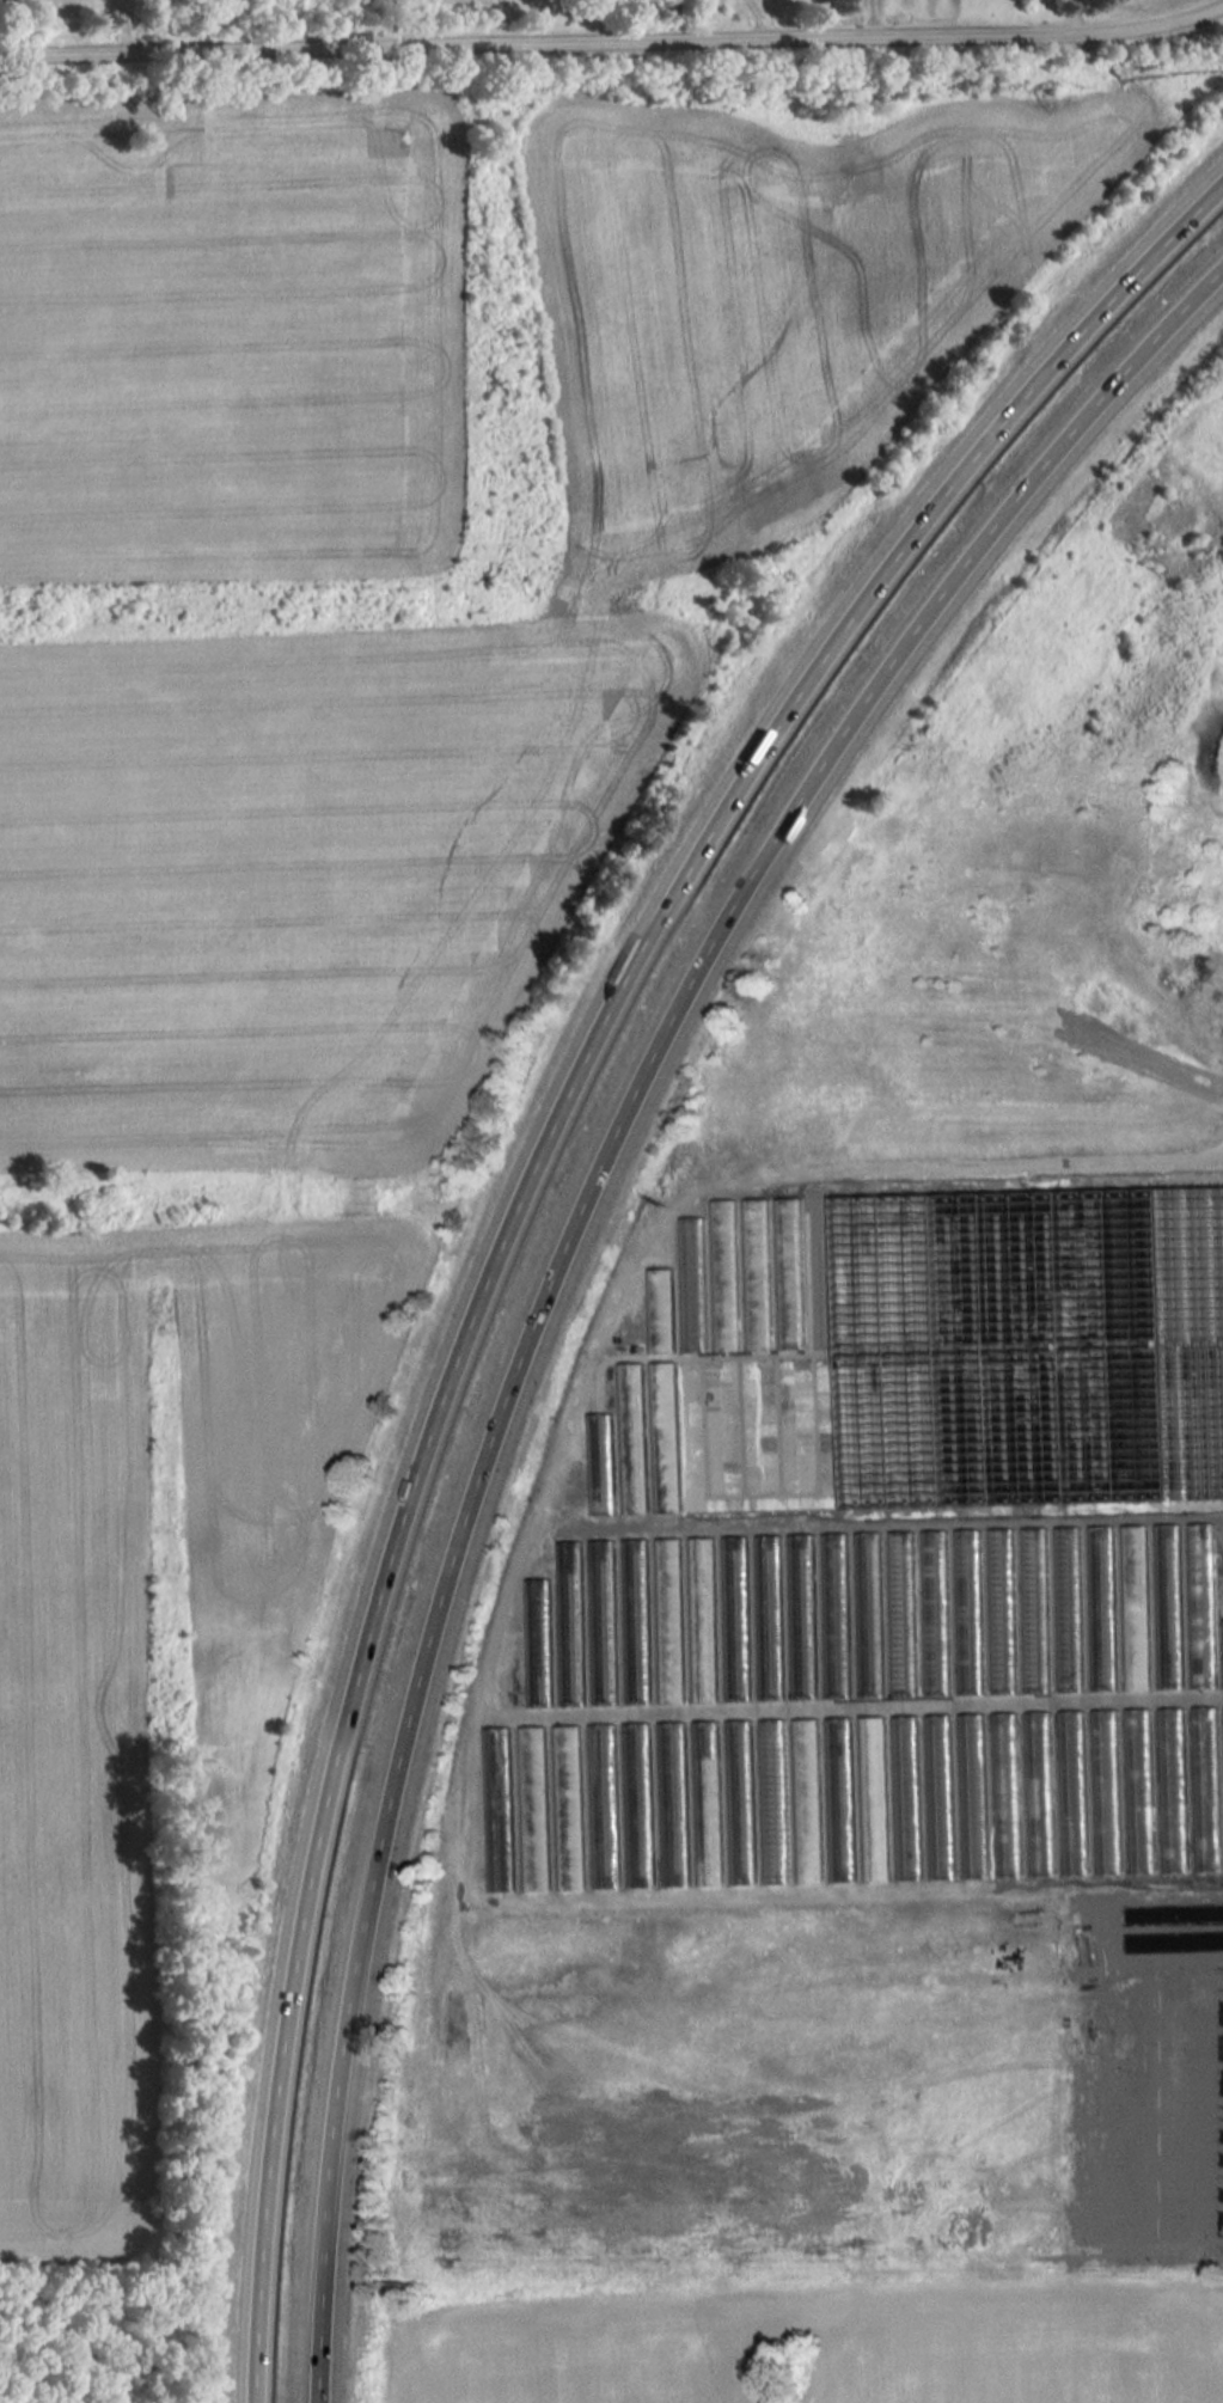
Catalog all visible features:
road: (1219, 5)
road: (117, 6)
road: (123, 6)
road: (1076, 16)
road: (765, 18)
road: (872, 19)
road: (391, 22)
road: (127, 29)
road: (612, 39)
road: (530, 1203)
road: (575, 1256)
building: (661, 1308)
building: (1033, 1319)
building: (666, 1436)
building: (632, 1437)
building: (600, 1463)
building: (1203, 1604)
building: (1169, 1606)
building: (1103, 1607)
building: (1137, 1607)
building: (1070, 1608)
building: (1037, 1609)
building: (970, 1610)
building: (1003, 1610)
building: (936, 1612)
building: (904, 1613)
building: (870, 1614)
building: (803, 1615)
building: (837, 1615)
building: (770, 1616)
building: (738, 1618)
building: (704, 1619)
building: (637, 1620)
building: (669, 1620)
building: (604, 1621)
building: (570, 1622)
building: (538, 1643)
building: (1040, 1756)
building: (1207, 1789)
building: (1141, 1790)
building: (1174, 1790)
building: (1107, 1791)
building: (1074, 1792)
building: (973, 1794)
building: (1007, 1794)
building: (941, 1796)
building: (907, 1797)
building: (874, 1798)
building: (840, 1799)
building: (775, 1800)
building: (808, 1800)
building: (741, 1802)
building: (673, 1803)
building: (708, 1803)
building: (638, 1804)
building: (604, 1805)
building: (568, 1806)
building: (533, 1808)
building: (497, 1809)
building: (1046, 1843)

